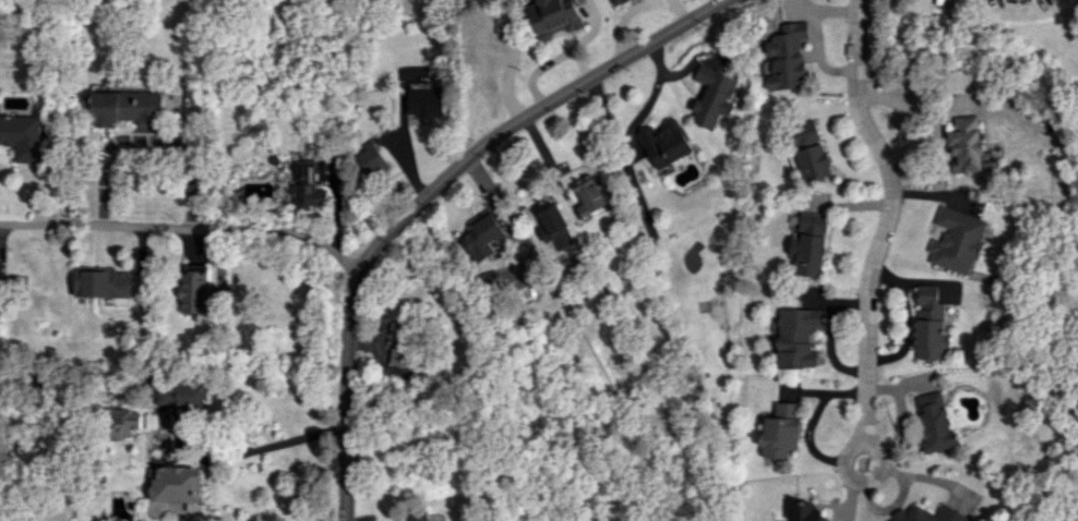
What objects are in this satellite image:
building: (615, 2)
building: (553, 17)
building: (502, 26)
building: (784, 58)
building: (712, 97)
building: (423, 100)
building: (122, 108)
road: (524, 114)
building: (21, 137)
road: (144, 138)
building: (663, 144)
building: (968, 145)
building: (811, 152)
building: (370, 160)
building: (587, 196)
building: (556, 227)
road: (883, 227)
road: (183, 228)
building: (482, 237)
building: (956, 240)
building: (811, 244)
building: (101, 282)
building: (487, 282)
building: (193, 289)
park: (1068, 315)
building: (927, 326)
road: (829, 335)
building: (796, 337)
building: (402, 343)
building: (180, 395)
road: (345, 395)
building: (123, 420)
building: (934, 422)
building: (179, 427)
building: (781, 431)
road: (808, 431)
road: (275, 443)
building: (177, 486)
building: (806, 512)
park: (606, 513)
building: (929, 514)
building: (414, 516)

